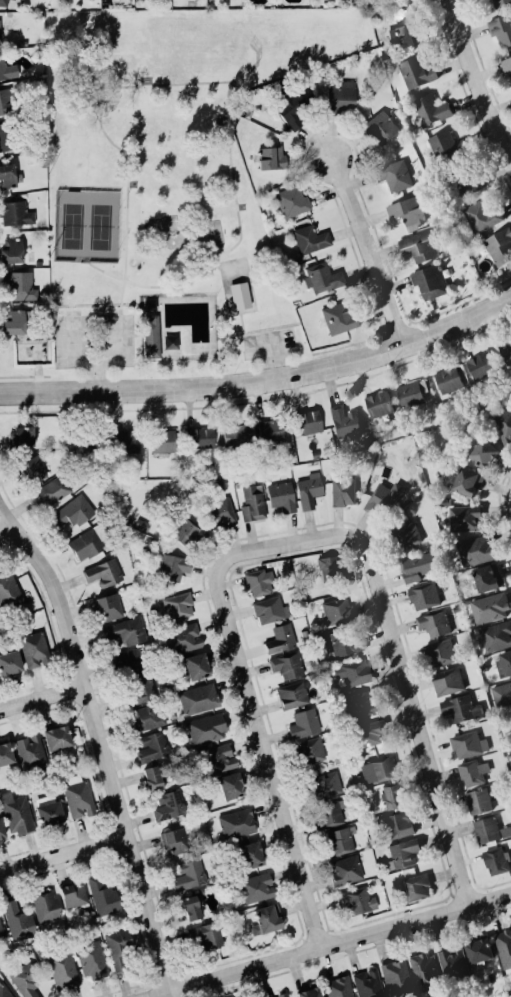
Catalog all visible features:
building: (3, 2)
building: (502, 2)
building: (500, 29)
building: (0, 32)
building: (408, 32)
building: (506, 63)
building: (7, 68)
building: (416, 70)
road: (479, 73)
building: (340, 96)
building: (5, 100)
building: (430, 107)
building: (289, 108)
building: (380, 126)
building: (3, 136)
building: (445, 144)
building: (270, 156)
road: (231, 172)
building: (393, 173)
building: (7, 174)
building: (468, 180)
road: (126, 195)
building: (291, 199)
building: (408, 211)
building: (14, 212)
building: (481, 213)
road: (134, 223)
park: (84, 226)
building: (310, 237)
building: (418, 244)
building: (499, 244)
building: (11, 249)
road: (364, 249)
road: (209, 259)
building: (321, 276)
building: (429, 280)
building: (18, 284)
park: (237, 286)
building: (240, 294)
building: (338, 316)
building: (13, 321)
road: (241, 325)
building: (151, 334)
parking lot: (114, 336)
parking lot: (265, 342)
road: (265, 343)
building: (505, 350)
road: (270, 359)
road: (96, 360)
building: (480, 363)
road: (92, 374)
building: (448, 377)
road: (262, 378)
building: (411, 392)
building: (378, 402)
building: (344, 419)
building: (308, 420)
building: (503, 423)
building: (271, 430)
building: (21, 435)
building: (238, 435)
building: (199, 436)
building: (126, 439)
building: (162, 439)
building: (93, 442)
building: (483, 450)
building: (31, 468)
building: (467, 479)
building: (308, 488)
building: (51, 489)
building: (342, 491)
building: (280, 493)
building: (384, 497)
building: (252, 501)
building: (72, 511)
building: (220, 511)
building: (465, 516)
road: (11, 531)
building: (188, 532)
building: (406, 533)
building: (89, 540)
building: (475, 549)
building: (172, 565)
building: (418, 565)
building: (328, 567)
building: (103, 571)
building: (487, 575)
building: (256, 581)
building: (8, 589)
building: (423, 594)
building: (178, 604)
building: (107, 605)
building: (489, 605)
building: (269, 608)
building: (336, 608)
building: (434, 621)
building: (125, 629)
building: (496, 633)
building: (182, 637)
building: (280, 637)
building: (341, 641)
building: (34, 648)
building: (439, 650)
building: (9, 661)
building: (127, 661)
building: (197, 664)
building: (287, 664)
building: (352, 671)
building: (447, 679)
building: (137, 689)
building: (501, 691)
building: (294, 692)
road: (45, 693)
building: (198, 697)
road: (415, 700)
road: (256, 701)
building: (359, 703)
building: (460, 706)
building: (147, 716)
building: (304, 722)
building: (206, 727)
building: (368, 731)
building: (56, 736)
road: (106, 737)
building: (468, 742)
building: (153, 745)
building: (309, 749)
building: (30, 750)
building: (4, 752)
building: (217, 757)
building: (382, 767)
building: (473, 770)
building: (152, 776)
building: (230, 784)
building: (323, 784)
building: (392, 794)
building: (77, 795)
building: (478, 798)
building: (168, 804)
building: (48, 809)
building: (15, 812)
building: (329, 813)
building: (236, 822)
building: (397, 823)
building: (486, 827)
building: (1, 830)
building: (175, 839)
building: (337, 840)
road: (66, 850)
building: (402, 852)
building: (249, 853)
building: (495, 858)
building: (344, 868)
building: (188, 873)
building: (416, 885)
building: (256, 886)
building: (73, 893)
building: (102, 894)
building: (357, 898)
building: (45, 903)
building: (190, 905)
building: (265, 918)
building: (17, 919)
building: (1, 929)
building: (208, 933)
road: (328, 945)
building: (117, 946)
building: (504, 946)
building: (479, 948)
building: (91, 959)
building: (452, 962)
building: (62, 968)
building: (424, 969)
building: (396, 976)
building: (25, 979)
building: (367, 982)
building: (338, 986)
building: (4, 991)
building: (309, 991)
building: (280, 995)

